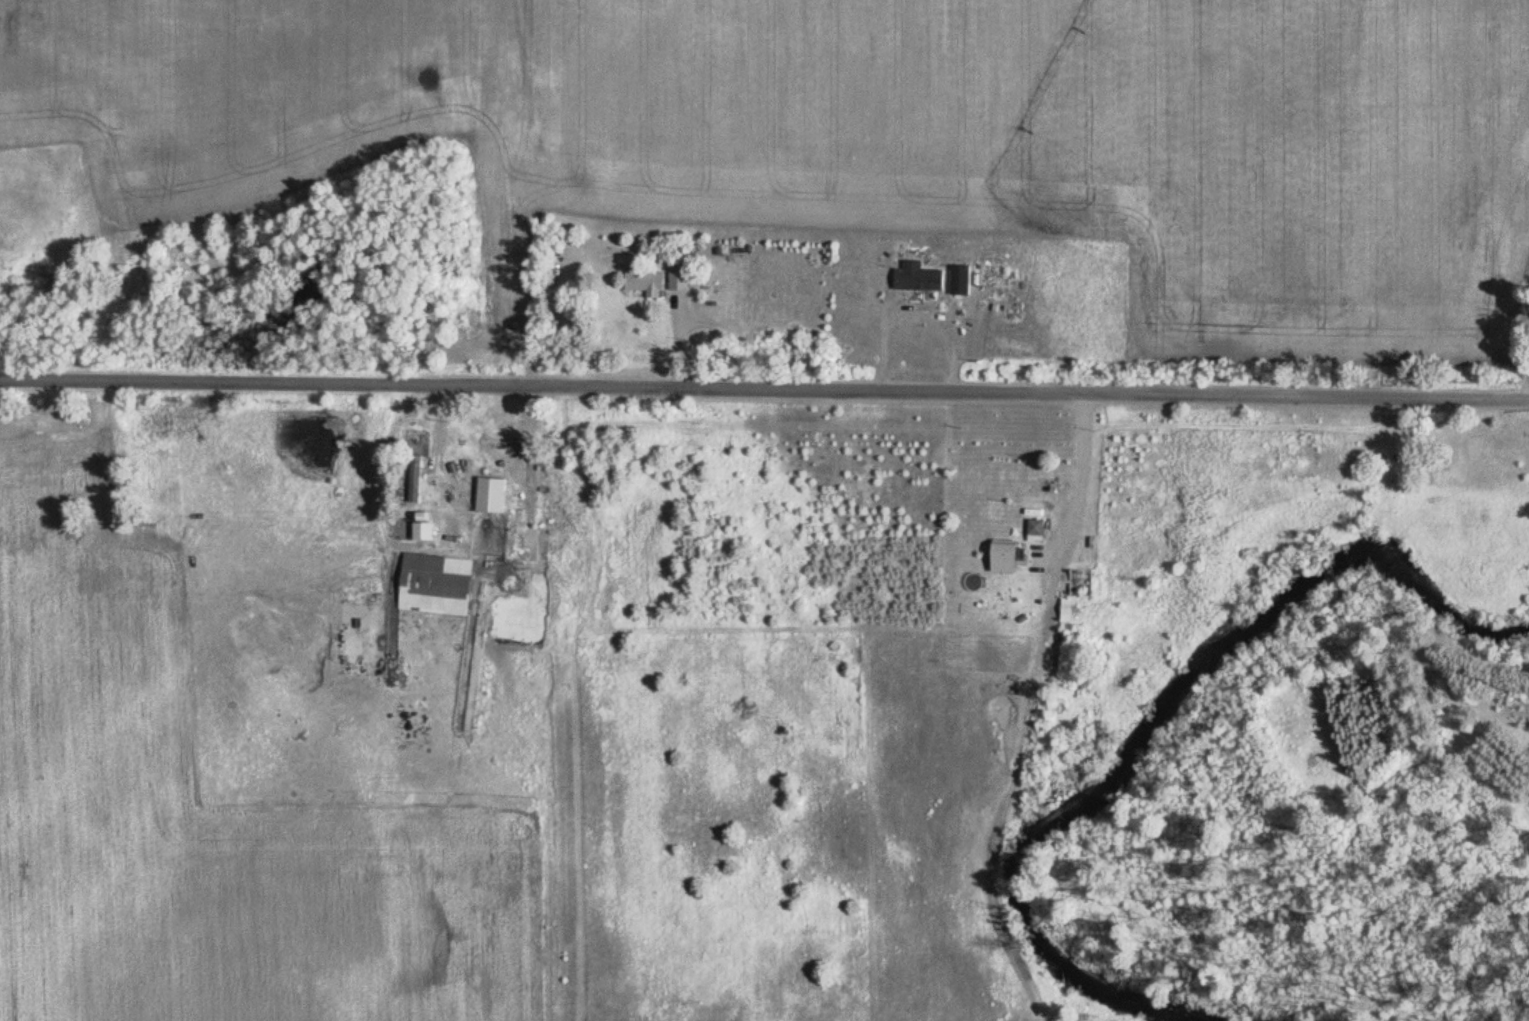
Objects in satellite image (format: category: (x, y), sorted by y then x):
road: (527, 194)
building: (1527, 224)
building: (920, 276)
building: (681, 277)
building: (963, 279)
building: (649, 281)
road: (755, 390)
road: (1519, 401)
road: (1077, 481)
building: (492, 517)
building: (425, 530)
building: (1037, 530)
building: (1011, 552)
building: (438, 580)
building: (1081, 581)
building: (1070, 605)
river: (1155, 718)
building: (266, 784)

